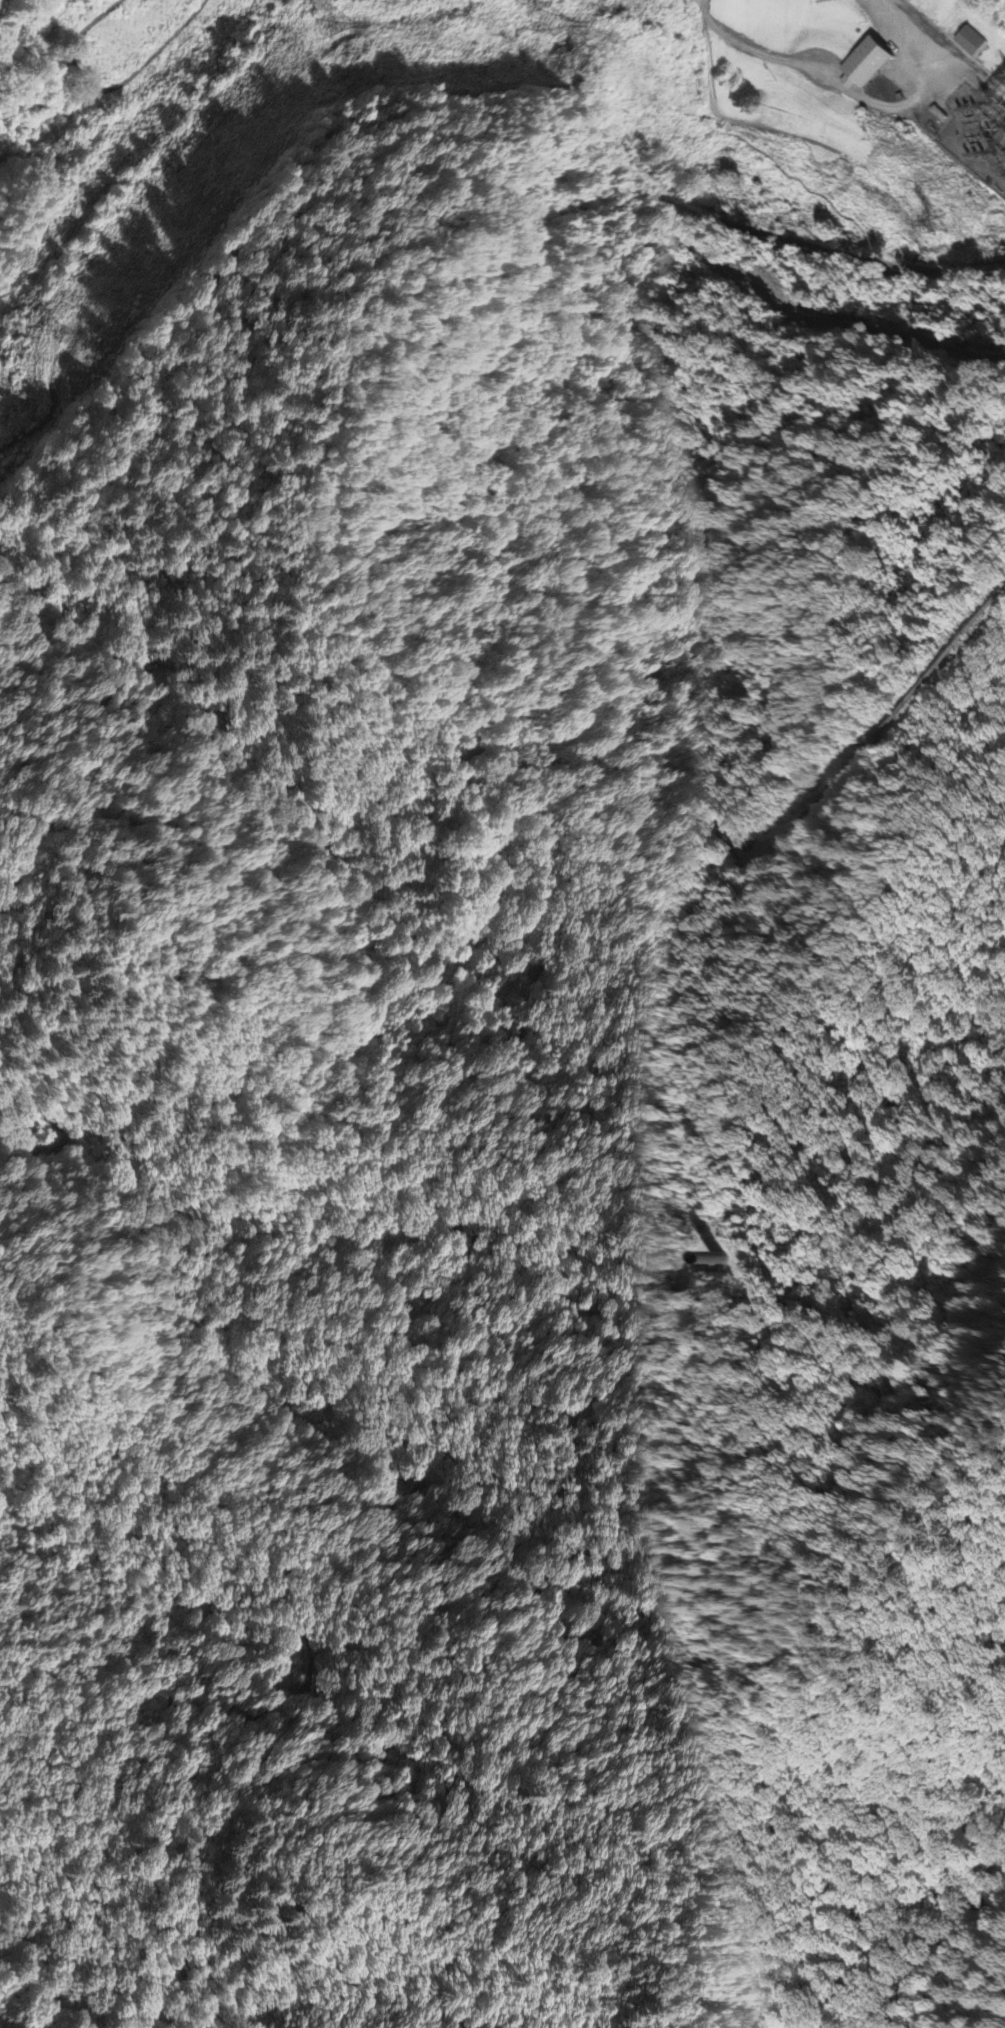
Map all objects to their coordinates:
road: (699, 6)
power tower: (327, 22)
power tower: (549, 22)
road: (914, 36)
building: (969, 44)
road: (66, 47)
road: (706, 54)
building: (863, 68)
road: (828, 78)
parking lot: (782, 122)
road: (778, 131)
road: (792, 181)
power tower: (939, 223)
road: (743, 229)
road: (921, 269)
road: (197, 301)
road: (805, 320)
power tower: (57, 331)
road: (412, 1115)
road: (64, 1139)
road: (765, 1539)
road: (430, 1611)

